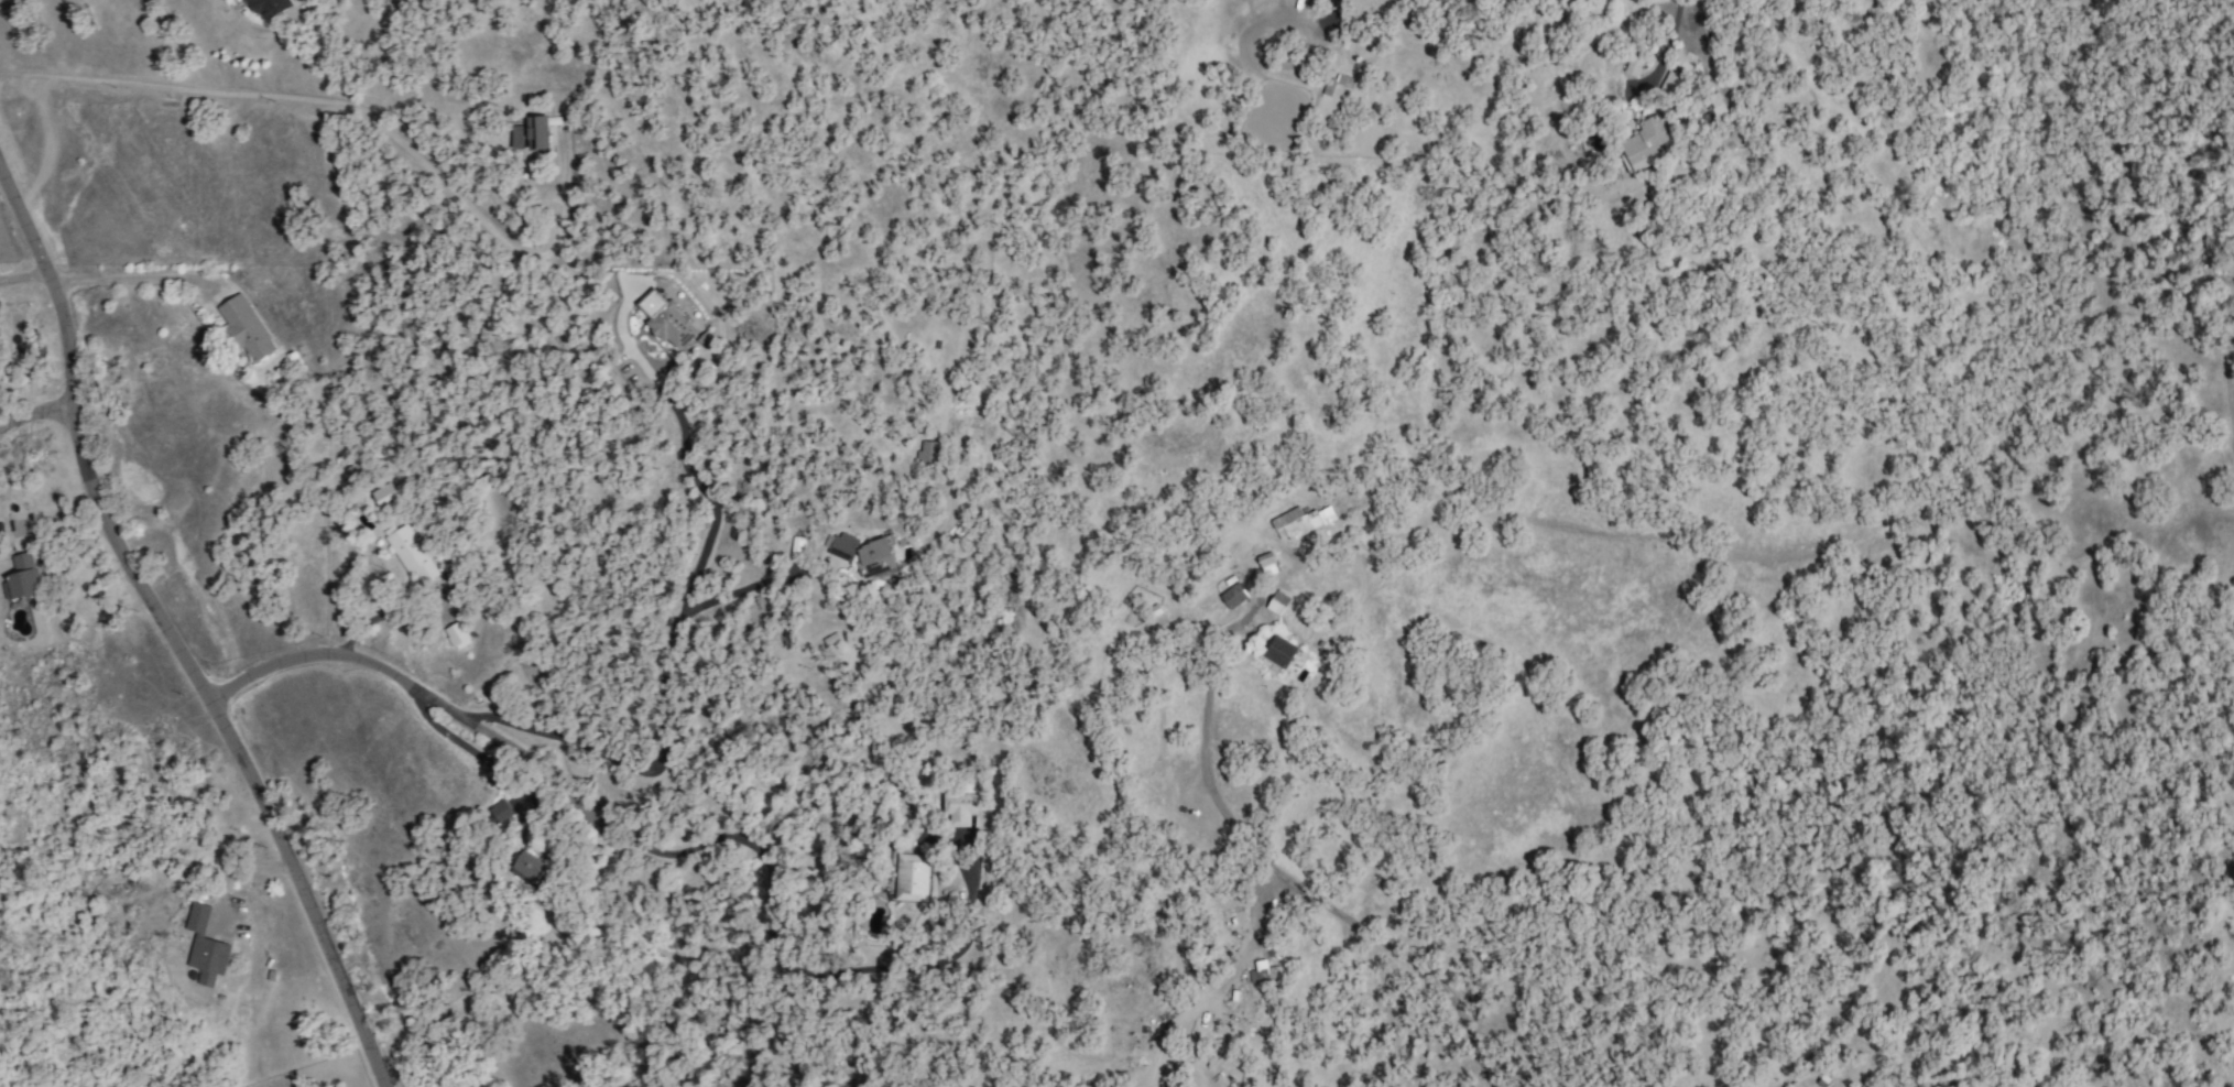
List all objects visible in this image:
building: (266, 8)
road: (1328, 18)
road: (1678, 22)
building: (1682, 59)
building: (1340, 83)
building: (1668, 83)
road: (340, 102)
building: (536, 132)
building: (516, 138)
building: (1645, 144)
road: (25, 276)
road: (127, 278)
building: (665, 319)
building: (246, 328)
road: (35, 412)
building: (926, 454)
building: (382, 496)
building: (1303, 522)
building: (842, 546)
building: (410, 555)
building: (874, 558)
building: (23, 576)
road: (750, 587)
building: (1232, 596)
building: (1277, 604)
road: (682, 611)
building: (456, 635)
road: (170, 638)
building: (1278, 652)
road: (427, 698)
road: (1202, 730)
road: (465, 749)
building: (958, 807)
building: (500, 811)
building: (526, 869)
building: (909, 877)
road: (1371, 938)
building: (204, 947)
road: (771, 957)
building: (1265, 976)

